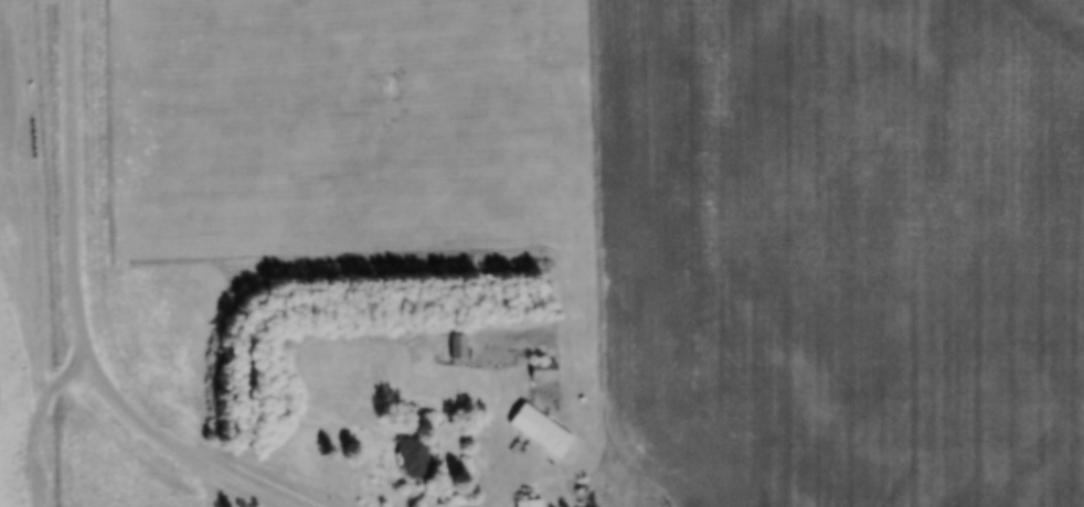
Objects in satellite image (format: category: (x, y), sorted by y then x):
road: (86, 305)
building: (455, 346)
building: (540, 370)
building: (411, 418)
building: (538, 431)
building: (411, 457)
road: (501, 477)
building: (527, 503)

